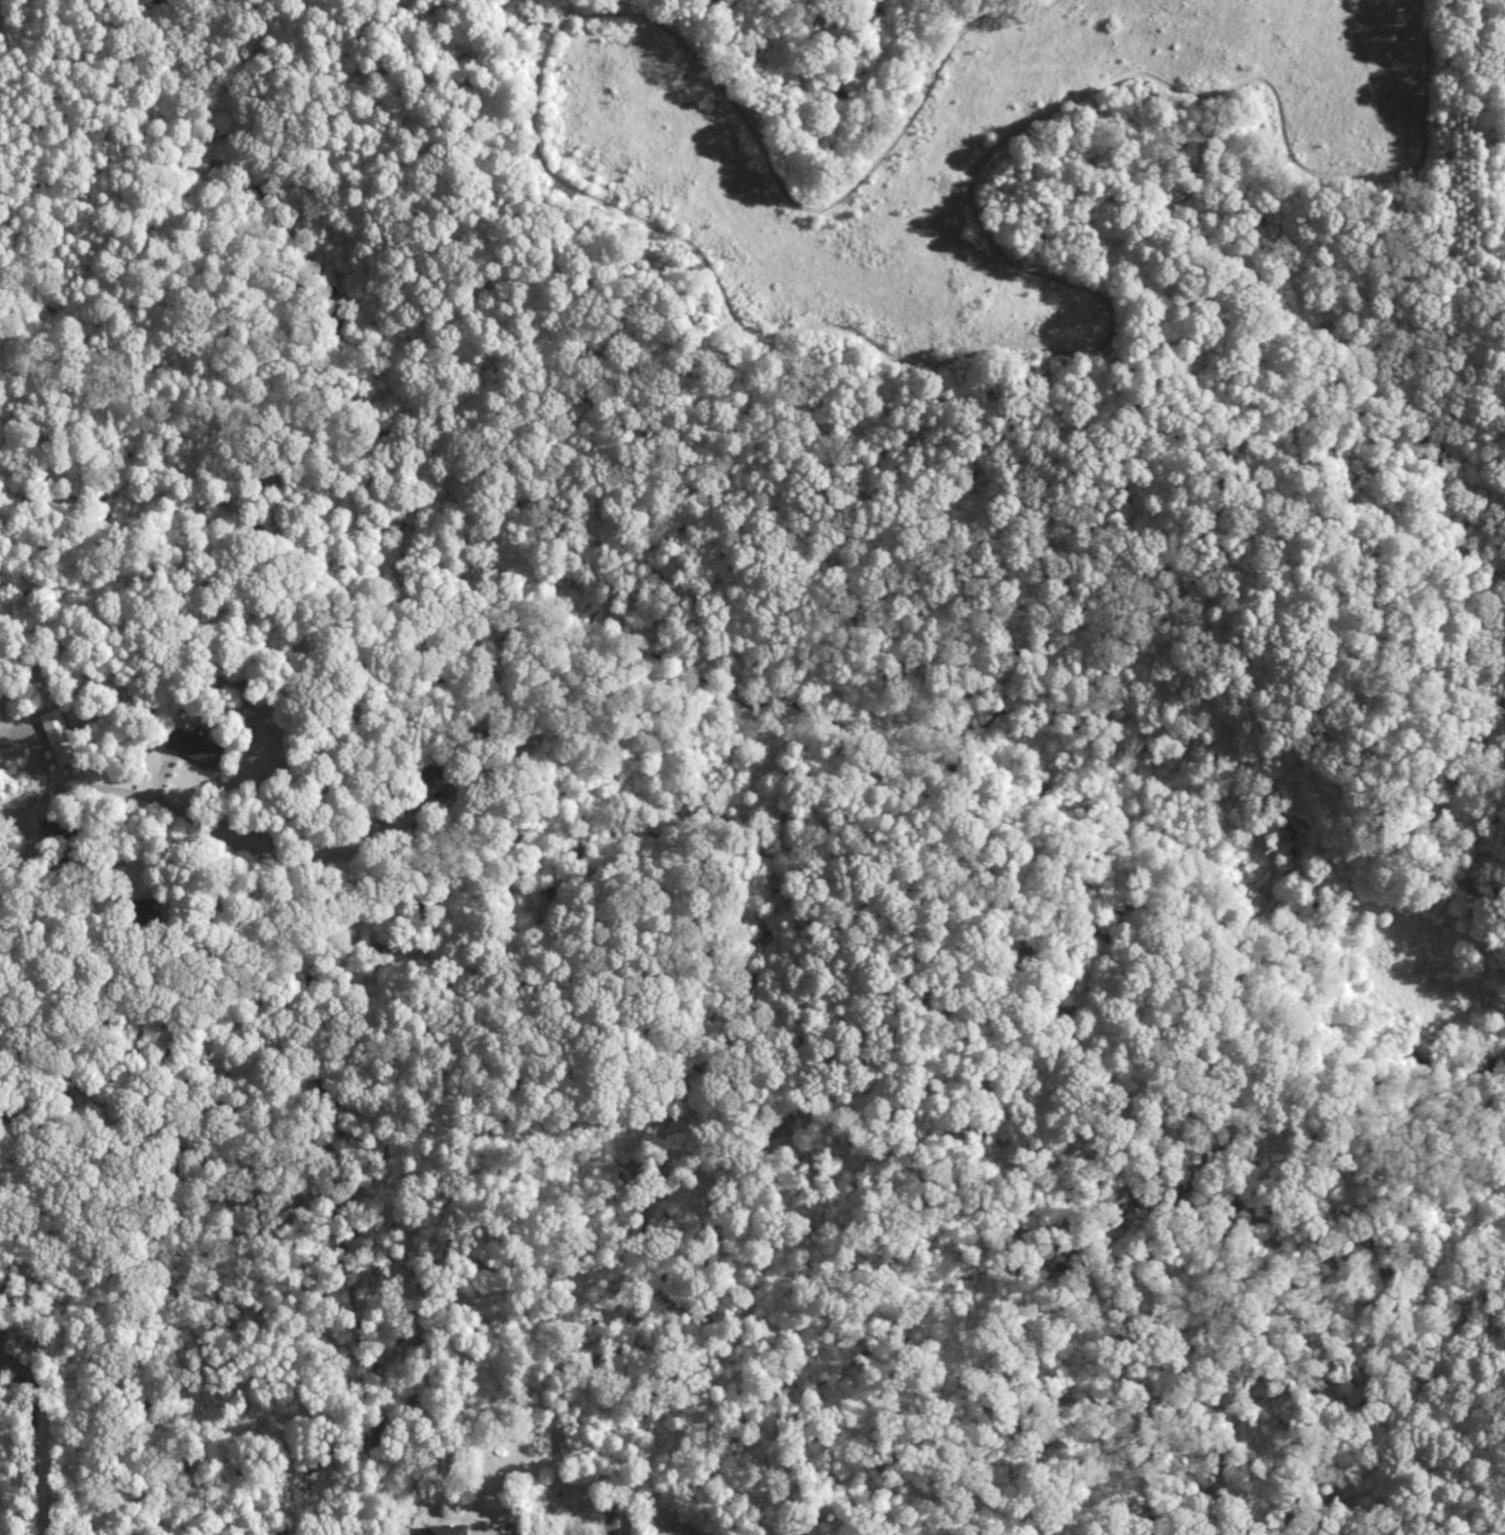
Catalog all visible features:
building: (59, 735)
building: (196, 746)
road: (25, 798)
road: (169, 809)
building: (56, 830)
building: (149, 908)
road: (35, 1442)
building: (448, 1528)

